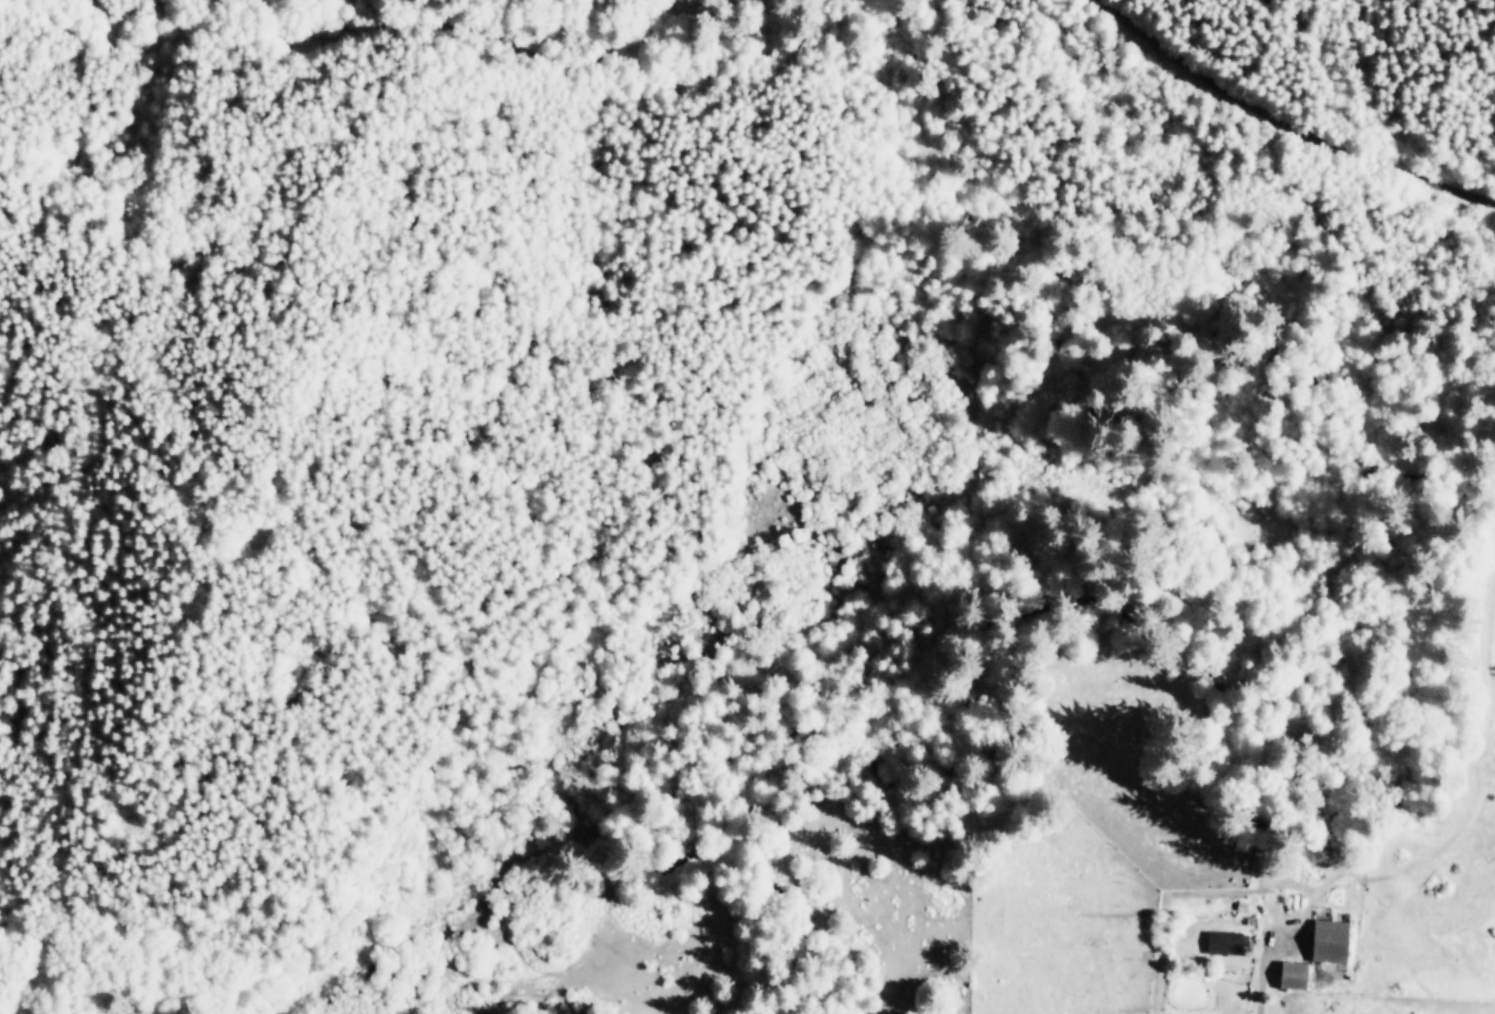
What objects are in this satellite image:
road: (1298, 127)
building: (1332, 939)
building: (1293, 966)
road: (1257, 1013)

